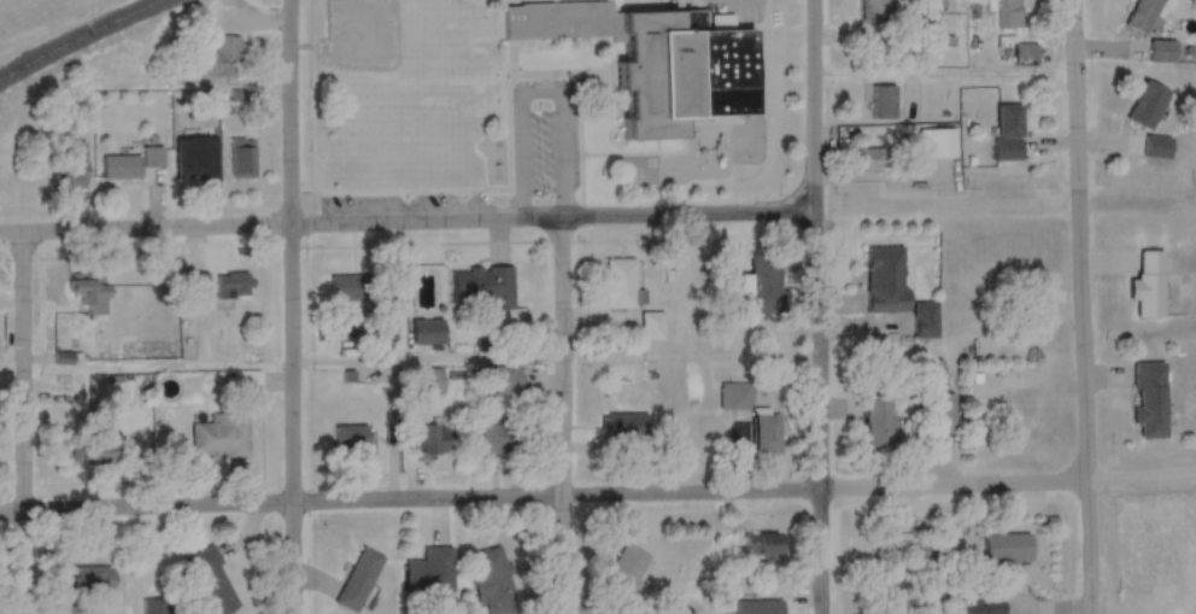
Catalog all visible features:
building: (883, 4)
building: (1008, 13)
building: (1142, 14)
railway: (80, 36)
building: (1163, 51)
building: (1026, 53)
building: (222, 58)
building: (657, 58)
road: (938, 78)
building: (884, 101)
building: (1148, 104)
building: (1009, 131)
building: (942, 142)
building: (1159, 146)
building: (242, 158)
building: (869, 158)
building: (131, 163)
building: (71, 164)
building: (194, 164)
road: (406, 221)
building: (886, 280)
building: (766, 282)
building: (620, 283)
building: (197, 285)
building: (233, 285)
building: (483, 286)
building: (348, 288)
building: (92, 291)
road: (282, 306)
road: (816, 306)
road: (1072, 306)
building: (926, 321)
building: (652, 327)
building: (381, 331)
building: (428, 332)
building: (934, 368)
road: (409, 369)
building: (506, 380)
building: (427, 381)
building: (247, 382)
building: (735, 392)
building: (1150, 396)
building: (942, 413)
road: (559, 415)
building: (878, 420)
road: (20, 422)
building: (626, 427)
building: (767, 434)
building: (221, 437)
building: (351, 438)
building: (430, 438)
building: (497, 439)
building: (96, 456)
road: (598, 496)
building: (915, 542)
building: (764, 543)
building: (1010, 546)
building: (430, 571)
building: (625, 571)
building: (93, 578)
building: (359, 579)
building: (492, 580)
building: (211, 581)
building: (973, 604)
building: (158, 606)
building: (755, 607)

